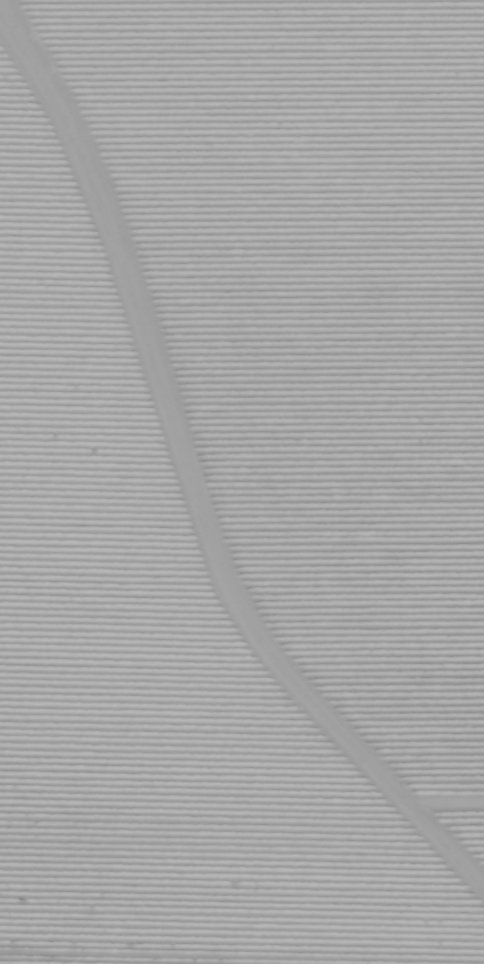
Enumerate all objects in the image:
road: (231, 440)

